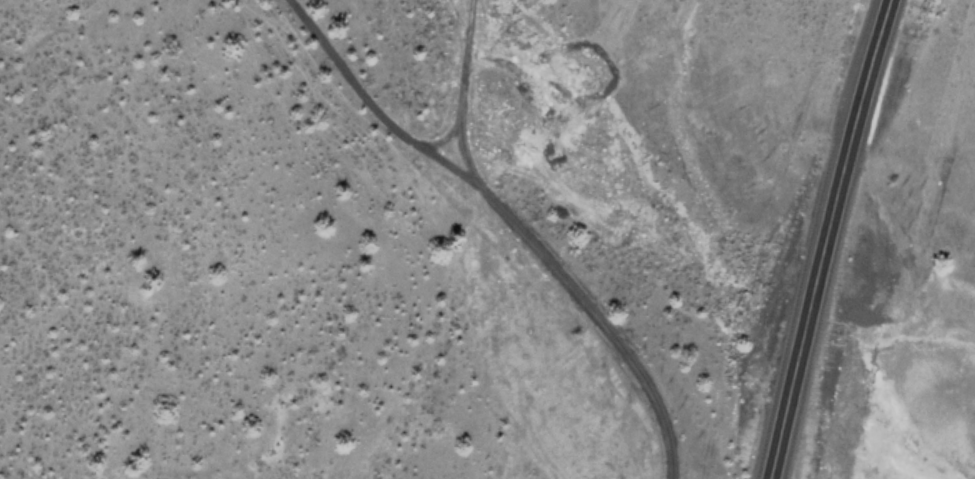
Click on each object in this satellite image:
road: (508, 218)
road: (822, 238)

